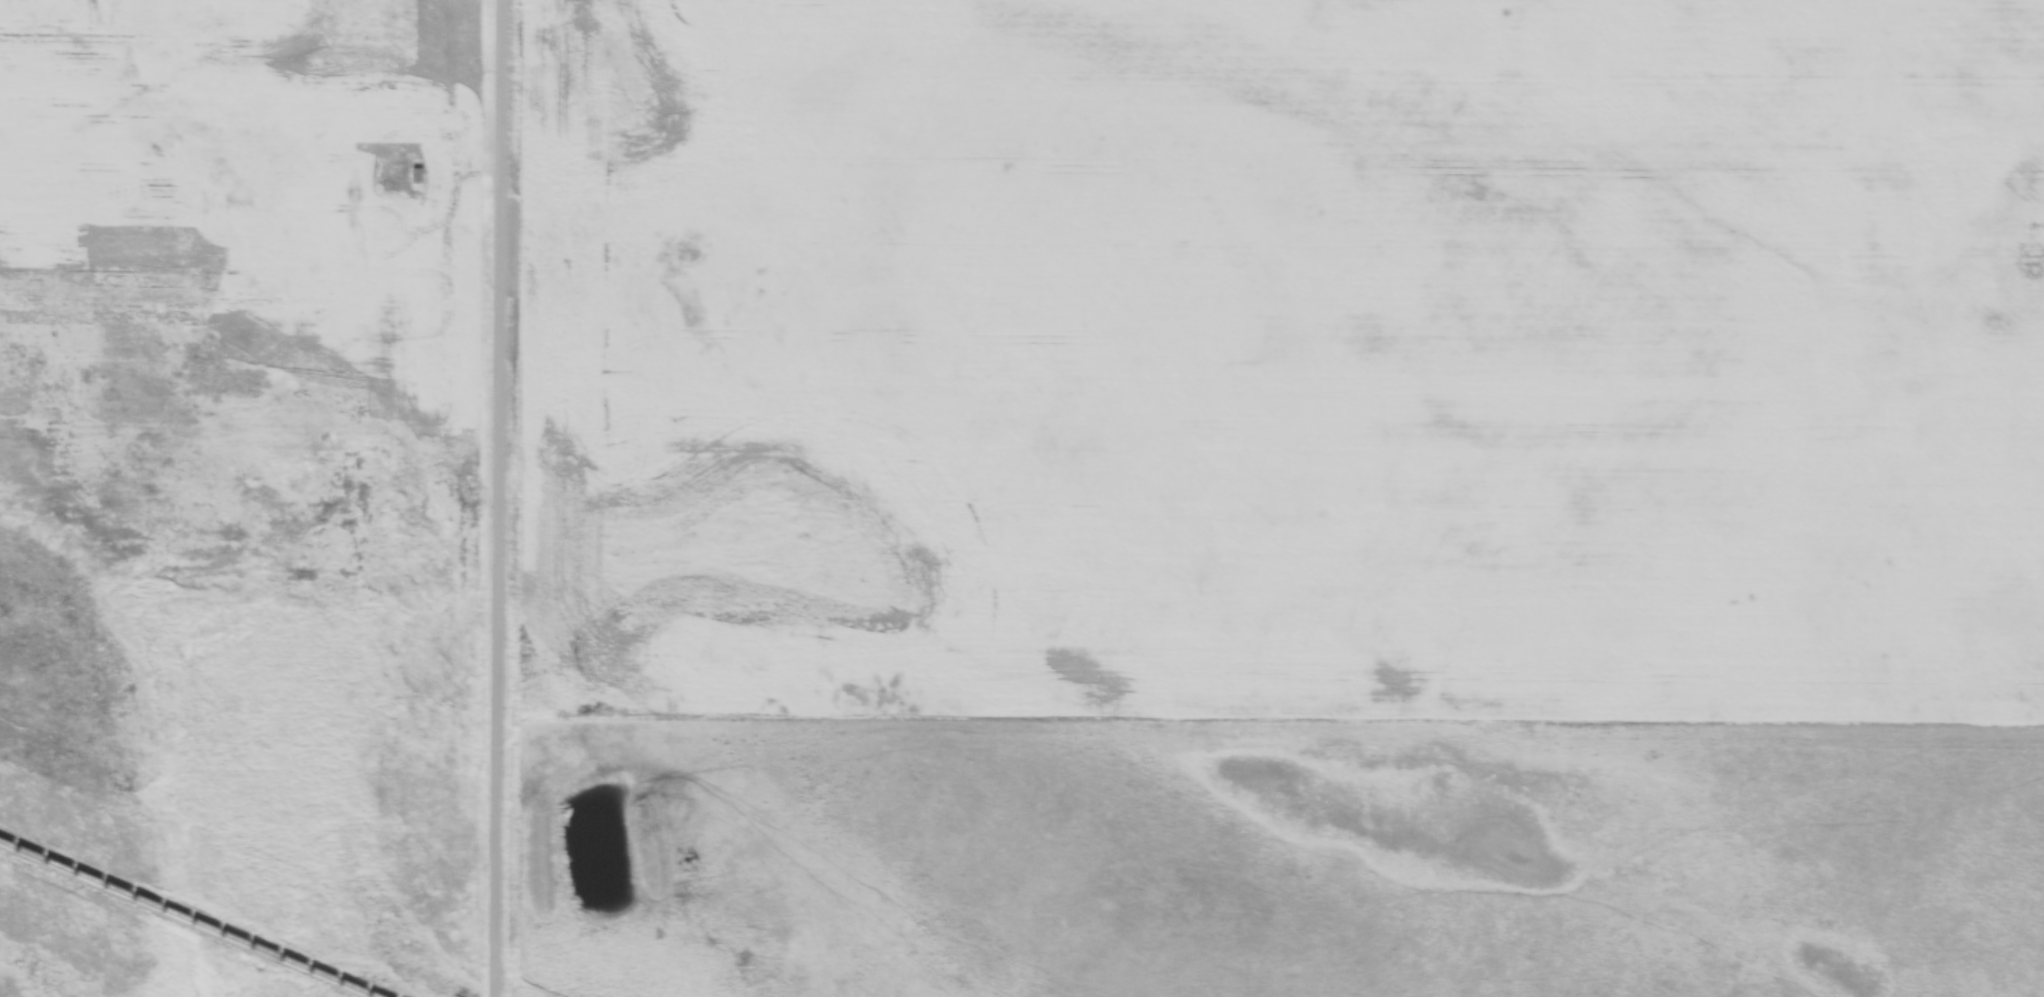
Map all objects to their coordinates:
building: (417, 174)
road: (498, 498)
railway: (186, 920)

